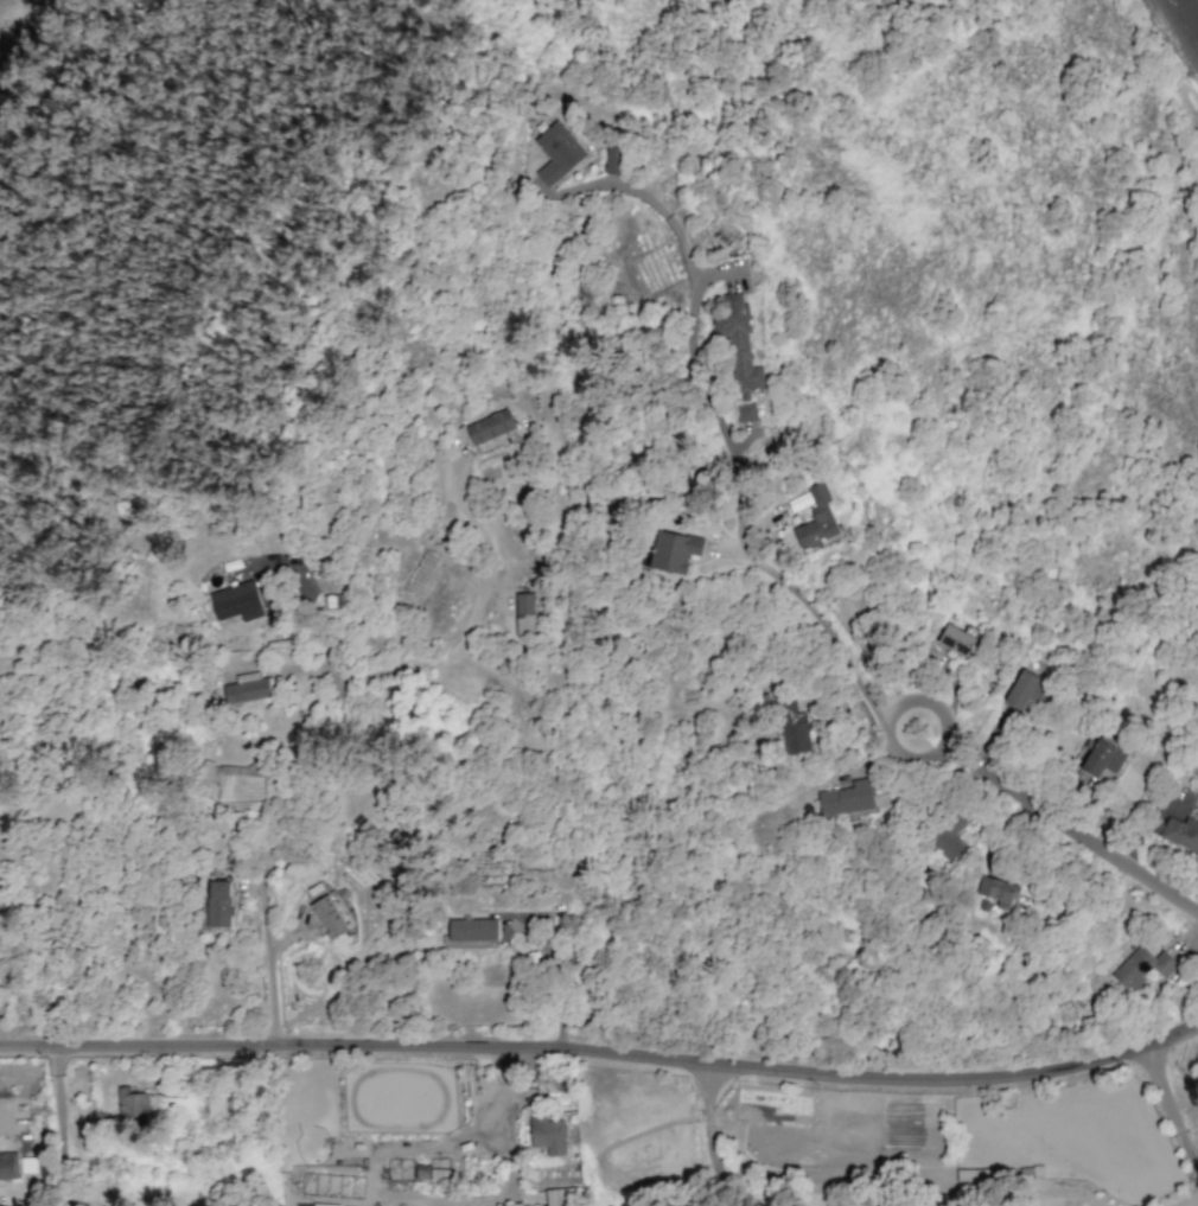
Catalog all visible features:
crop: (1184, 19)
building: (557, 154)
building: (613, 159)
road: (626, 187)
building: (739, 345)
road: (702, 395)
building: (746, 411)
building: (490, 426)
road: (228, 439)
building: (798, 502)
building: (817, 519)
building: (671, 551)
building: (237, 601)
building: (525, 615)
road: (826, 627)
building: (957, 639)
building: (1026, 690)
road: (334, 712)
building: (796, 728)
building: (1102, 758)
building: (847, 798)
road: (1058, 817)
building: (1181, 832)
building: (950, 840)
building: (999, 892)
building: (218, 902)
building: (329, 917)
building: (472, 929)
building: (1142, 966)
road: (606, 1055)
road: (59, 1103)
building: (132, 1103)
road: (1171, 1118)
building: (548, 1135)
road: (708, 1138)
building: (8, 1166)
building: (562, 1197)
building: (512, 1204)

